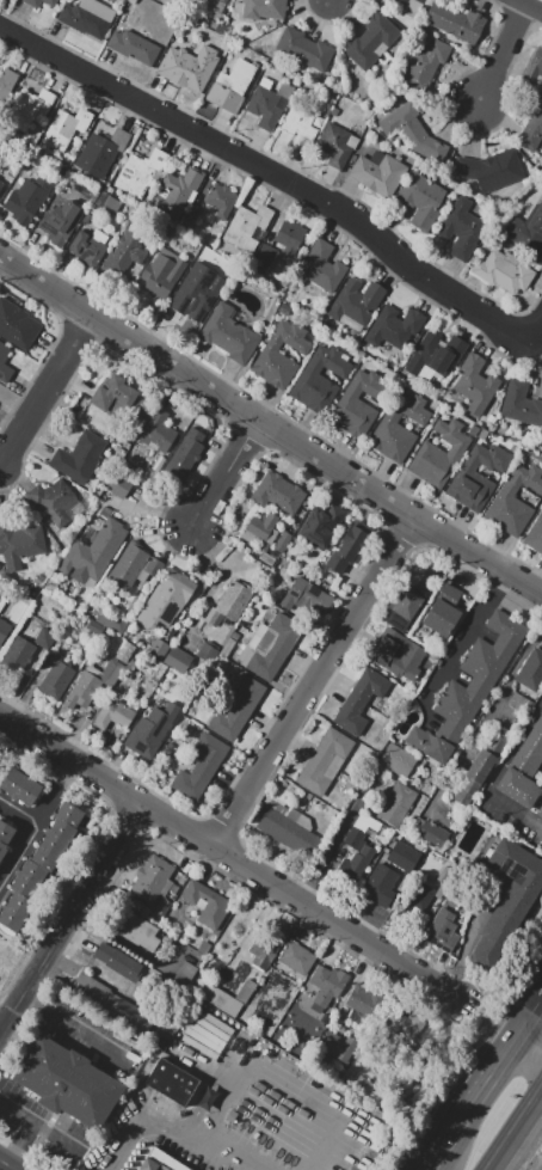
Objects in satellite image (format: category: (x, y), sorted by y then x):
building: (50, 1)
road: (332, 1)
building: (420, 1)
building: (33, 2)
building: (399, 2)
road: (532, 4)
building: (217, 6)
building: (265, 10)
building: (87, 18)
building: (456, 22)
building: (371, 41)
building: (133, 47)
building: (303, 49)
road: (504, 53)
building: (421, 62)
building: (536, 62)
building: (183, 72)
building: (6, 81)
building: (235, 84)
building: (269, 103)
building: (29, 109)
building: (298, 124)
building: (64, 128)
building: (531, 128)
building: (413, 131)
building: (334, 145)
building: (101, 151)
building: (491, 170)
building: (141, 172)
building: (378, 172)
road: (277, 176)
building: (0, 180)
building: (1, 183)
building: (177, 191)
building: (26, 200)
building: (421, 200)
building: (220, 201)
building: (192, 213)
building: (60, 222)
building: (246, 227)
building: (462, 228)
building: (526, 233)
building: (289, 237)
building: (88, 247)
building: (128, 249)
building: (265, 255)
building: (204, 261)
building: (324, 268)
building: (504, 272)
building: (161, 274)
building: (204, 295)
building: (357, 300)
building: (19, 319)
building: (394, 326)
building: (229, 333)
building: (432, 353)
building: (4, 354)
building: (270, 354)
building: (319, 376)
building: (475, 384)
road: (45, 388)
road: (208, 388)
building: (118, 397)
building: (358, 402)
building: (521, 404)
building: (491, 418)
building: (398, 427)
building: (473, 430)
building: (156, 434)
building: (482, 434)
building: (439, 454)
building: (79, 457)
building: (183, 458)
building: (486, 458)
road: (226, 473)
building: (118, 485)
building: (279, 492)
building: (473, 492)
building: (54, 497)
building: (515, 501)
road: (158, 508)
building: (259, 527)
building: (319, 529)
building: (536, 535)
building: (282, 540)
building: (19, 544)
building: (347, 547)
building: (96, 550)
road: (480, 559)
building: (134, 565)
building: (310, 596)
building: (167, 599)
building: (230, 602)
building: (404, 607)
building: (442, 611)
building: (111, 624)
building: (94, 627)
building: (4, 630)
road: (464, 636)
building: (44, 638)
building: (269, 645)
building: (124, 651)
building: (19, 654)
building: (170, 655)
building: (382, 656)
building: (155, 668)
building: (107, 670)
building: (531, 670)
building: (478, 674)
building: (56, 680)
road: (314, 681)
building: (82, 692)
building: (358, 699)
road: (489, 704)
building: (521, 704)
building: (238, 707)
building: (113, 713)
building: (150, 729)
building: (429, 745)
building: (530, 749)
building: (322, 756)
building: (398, 759)
building: (199, 767)
road: (494, 774)
building: (474, 778)
building: (19, 786)
building: (516, 788)
building: (396, 803)
road: (19, 810)
building: (540, 810)
road: (38, 823)
building: (361, 831)
building: (432, 831)
building: (6, 832)
building: (289, 832)
road: (333, 843)
road: (229, 853)
building: (402, 853)
building: (357, 860)
building: (41, 864)
building: (152, 878)
building: (378, 884)
building: (417, 894)
building: (507, 899)
building: (218, 903)
road: (73, 915)
building: (134, 929)
building: (233, 930)
building: (442, 935)
road: (466, 938)
building: (263, 951)
building: (297, 957)
building: (118, 961)
road: (104, 969)
building: (184, 974)
building: (327, 981)
building: (92, 987)
building: (228, 998)
building: (363, 1000)
road: (535, 1023)
road: (75, 1025)
building: (401, 1025)
parking lot: (88, 1033)
road: (535, 1039)
building: (335, 1046)
building: (173, 1079)
building: (68, 1080)
building: (367, 1088)
road: (482, 1102)
road: (41, 1123)
parking lot: (42, 1123)
road: (144, 1126)
road: (516, 1133)
road: (324, 1144)
road: (21, 1145)
road: (229, 1147)
road: (25, 1153)
building: (161, 1160)
road: (4, 1168)

